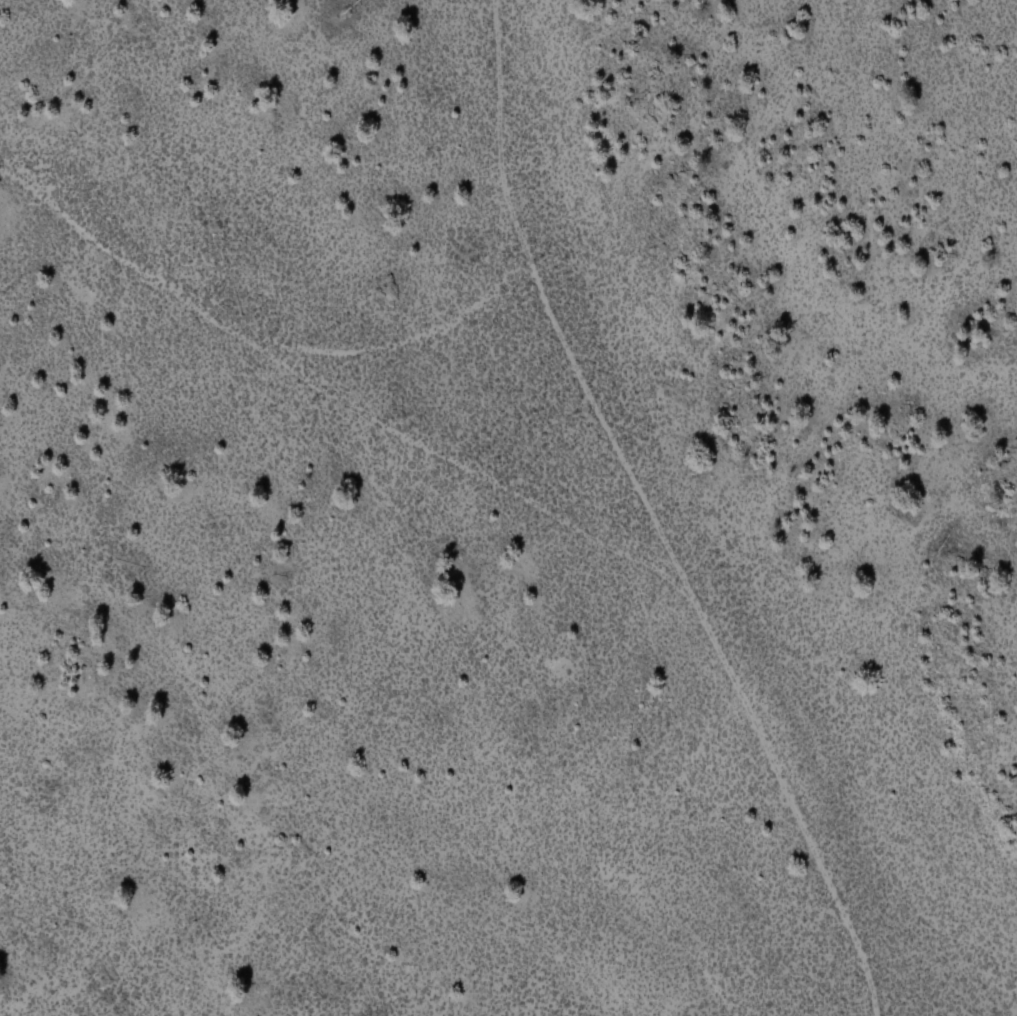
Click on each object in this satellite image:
road: (331, 392)
road: (652, 515)

